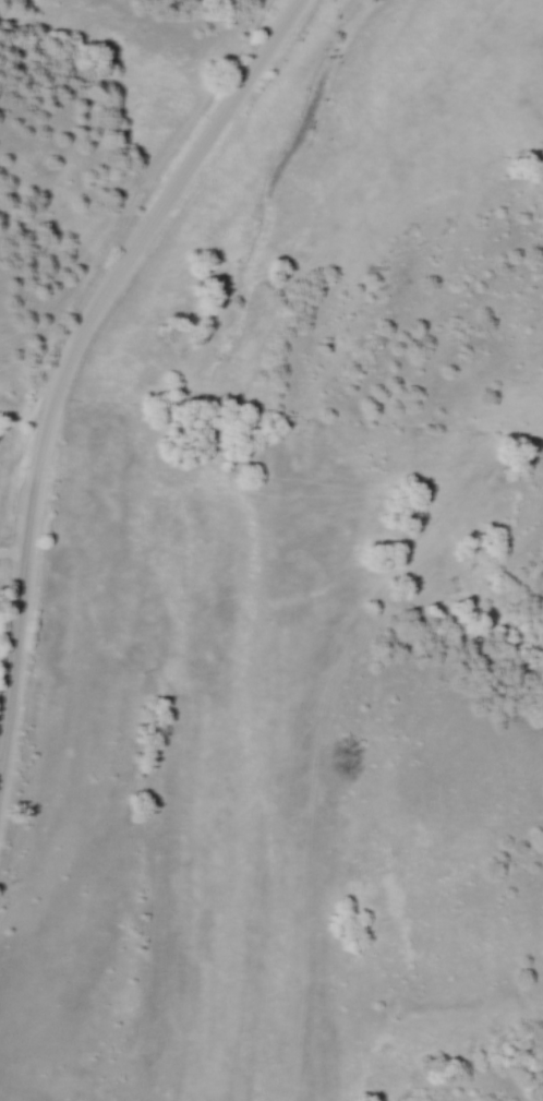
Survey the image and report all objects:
road: (73, 343)

